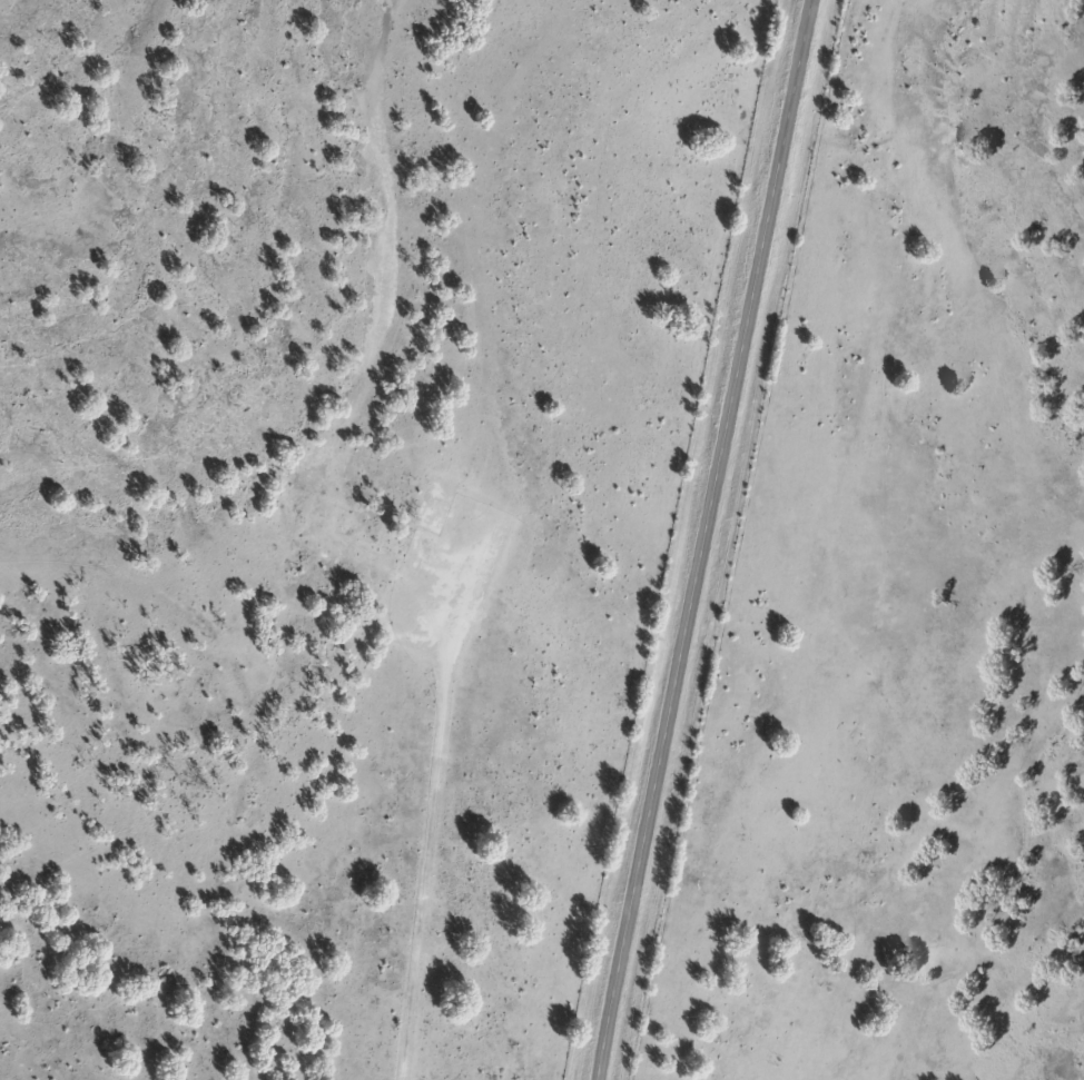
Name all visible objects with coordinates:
road: (703, 539)

